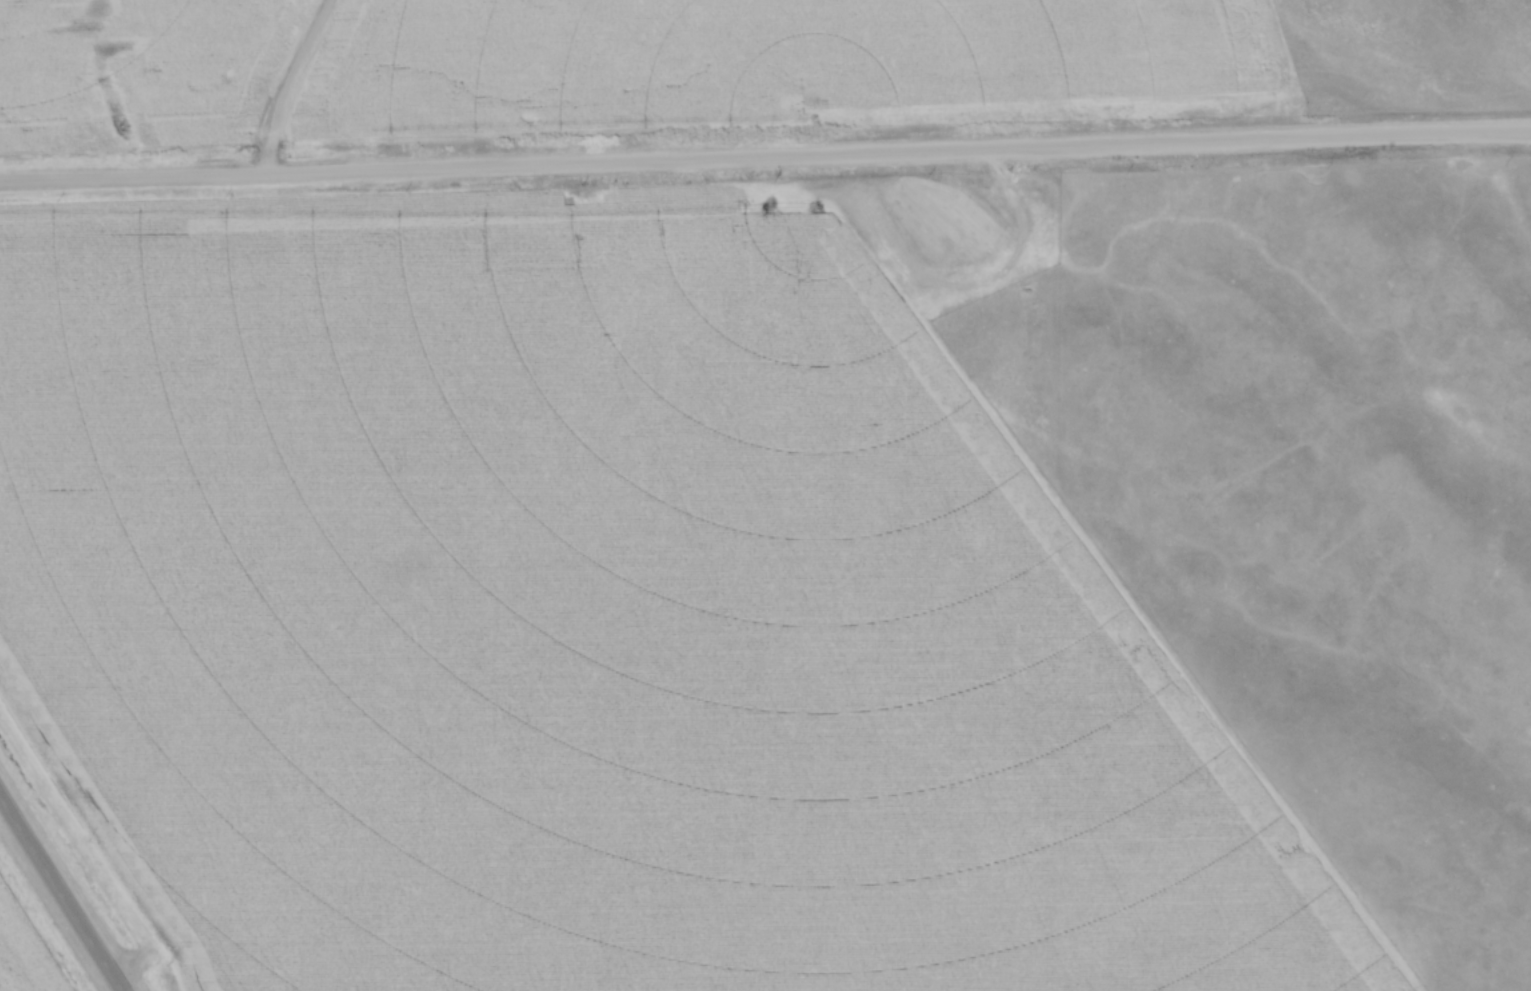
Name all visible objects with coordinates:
road: (765, 162)
road: (58, 898)

